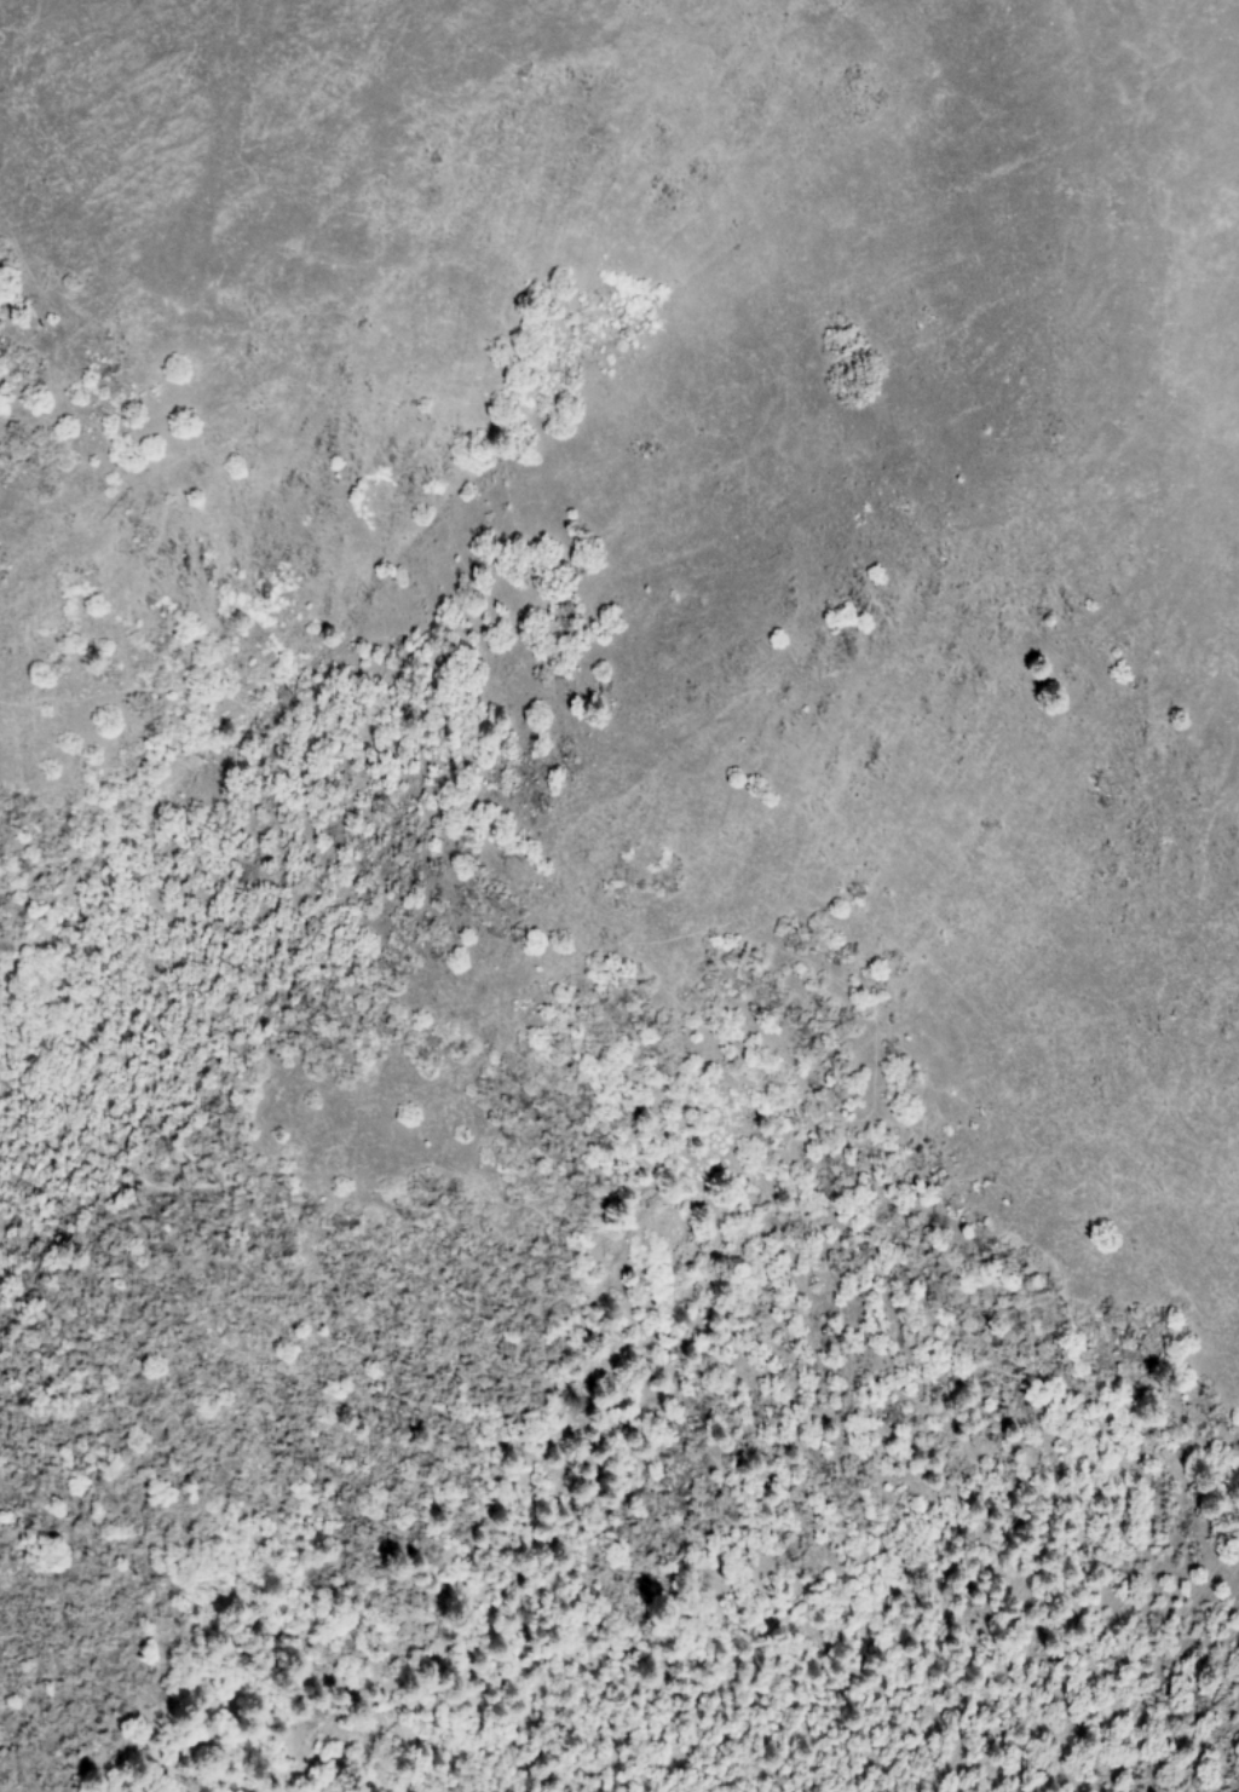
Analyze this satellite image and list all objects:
road: (557, 736)
road: (204, 1050)

